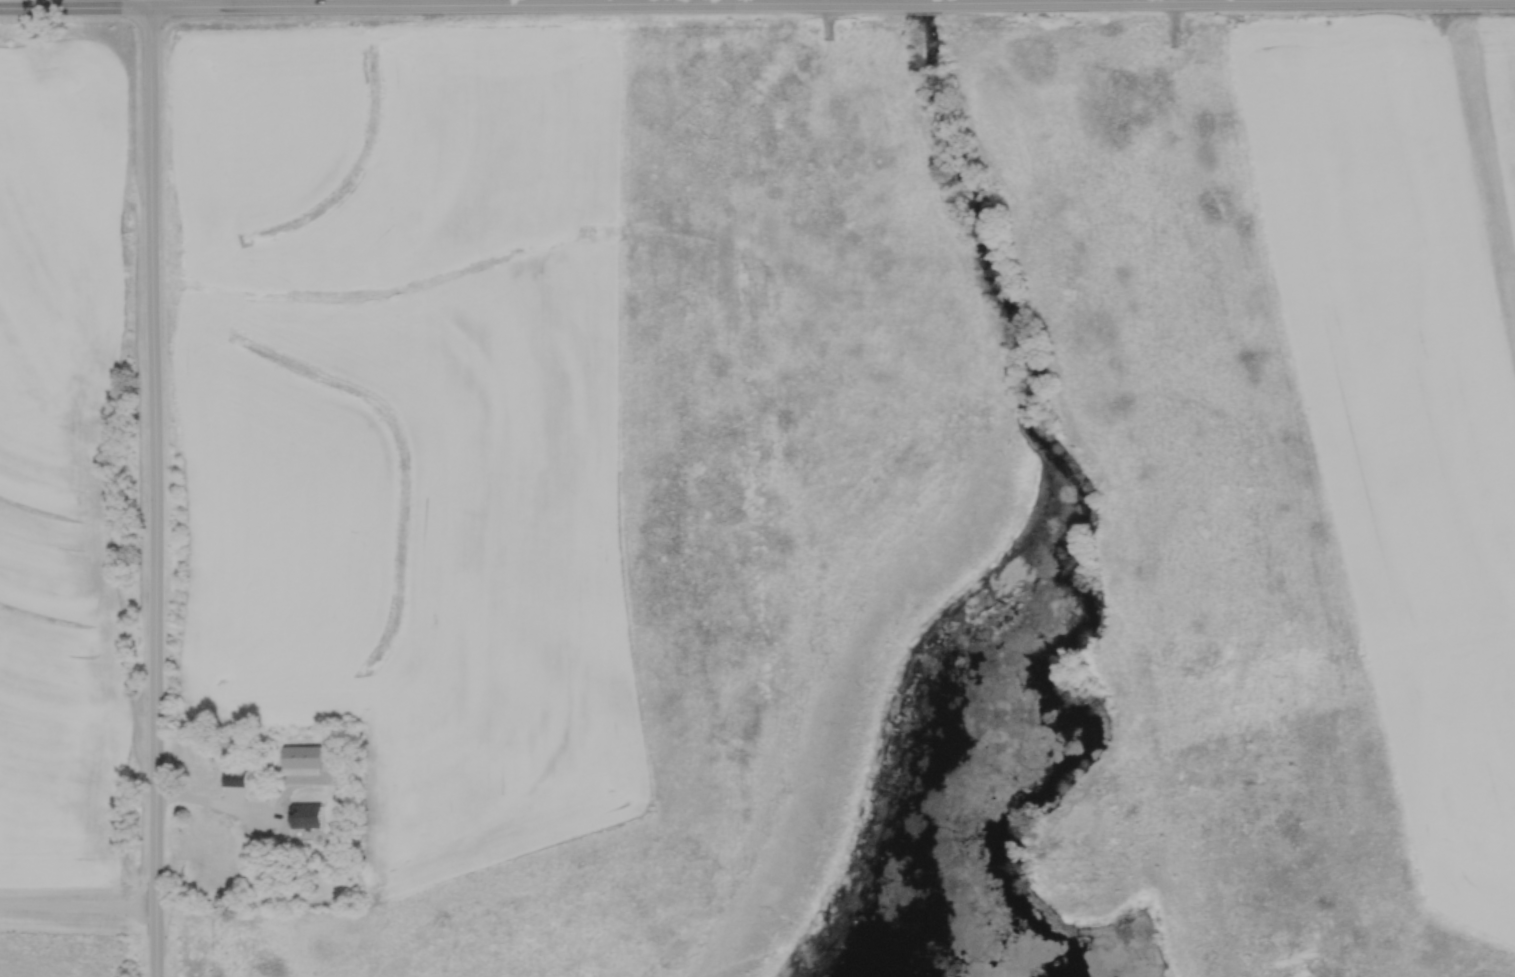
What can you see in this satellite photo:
road: (1249, 1)
road: (925, 2)
road: (433, 5)
airport runway: (1486, 163)
road: (151, 488)
park: (948, 539)
building: (232, 778)
road: (213, 803)
building: (306, 817)
road: (77, 904)

